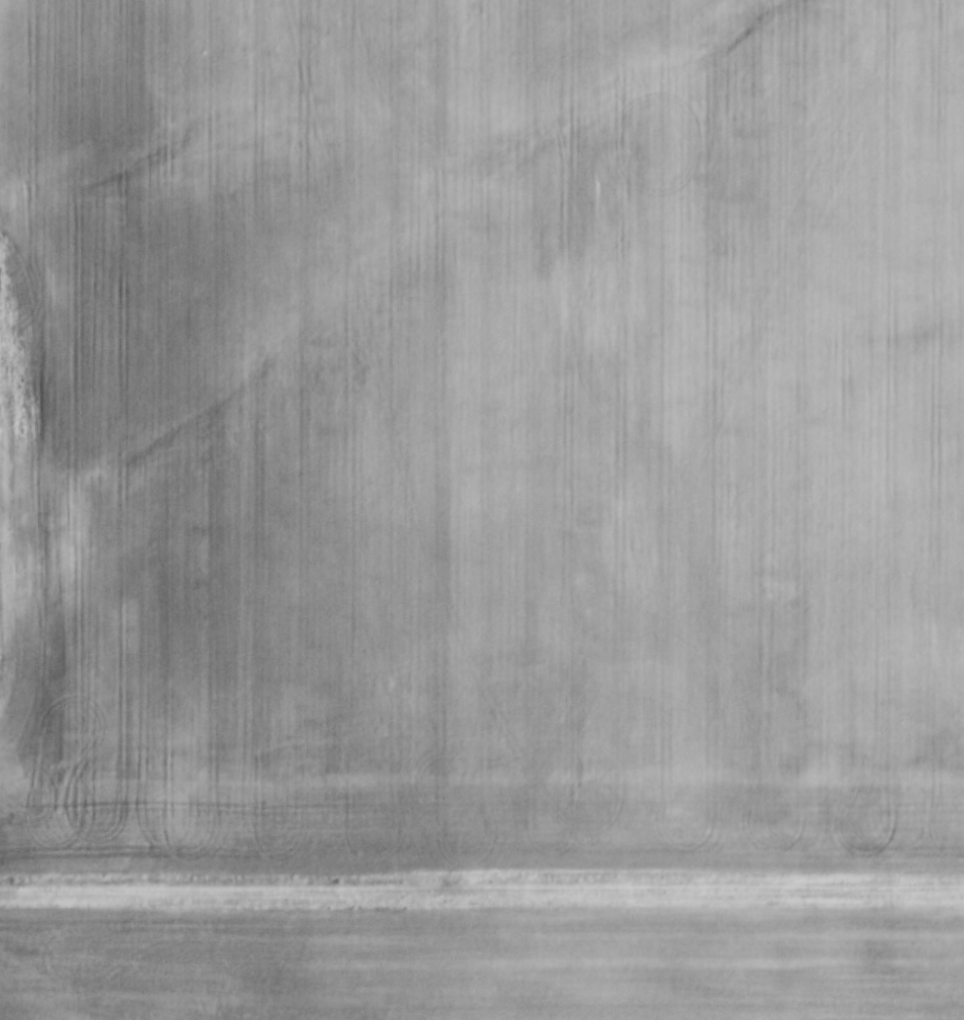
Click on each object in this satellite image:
road: (481, 890)

